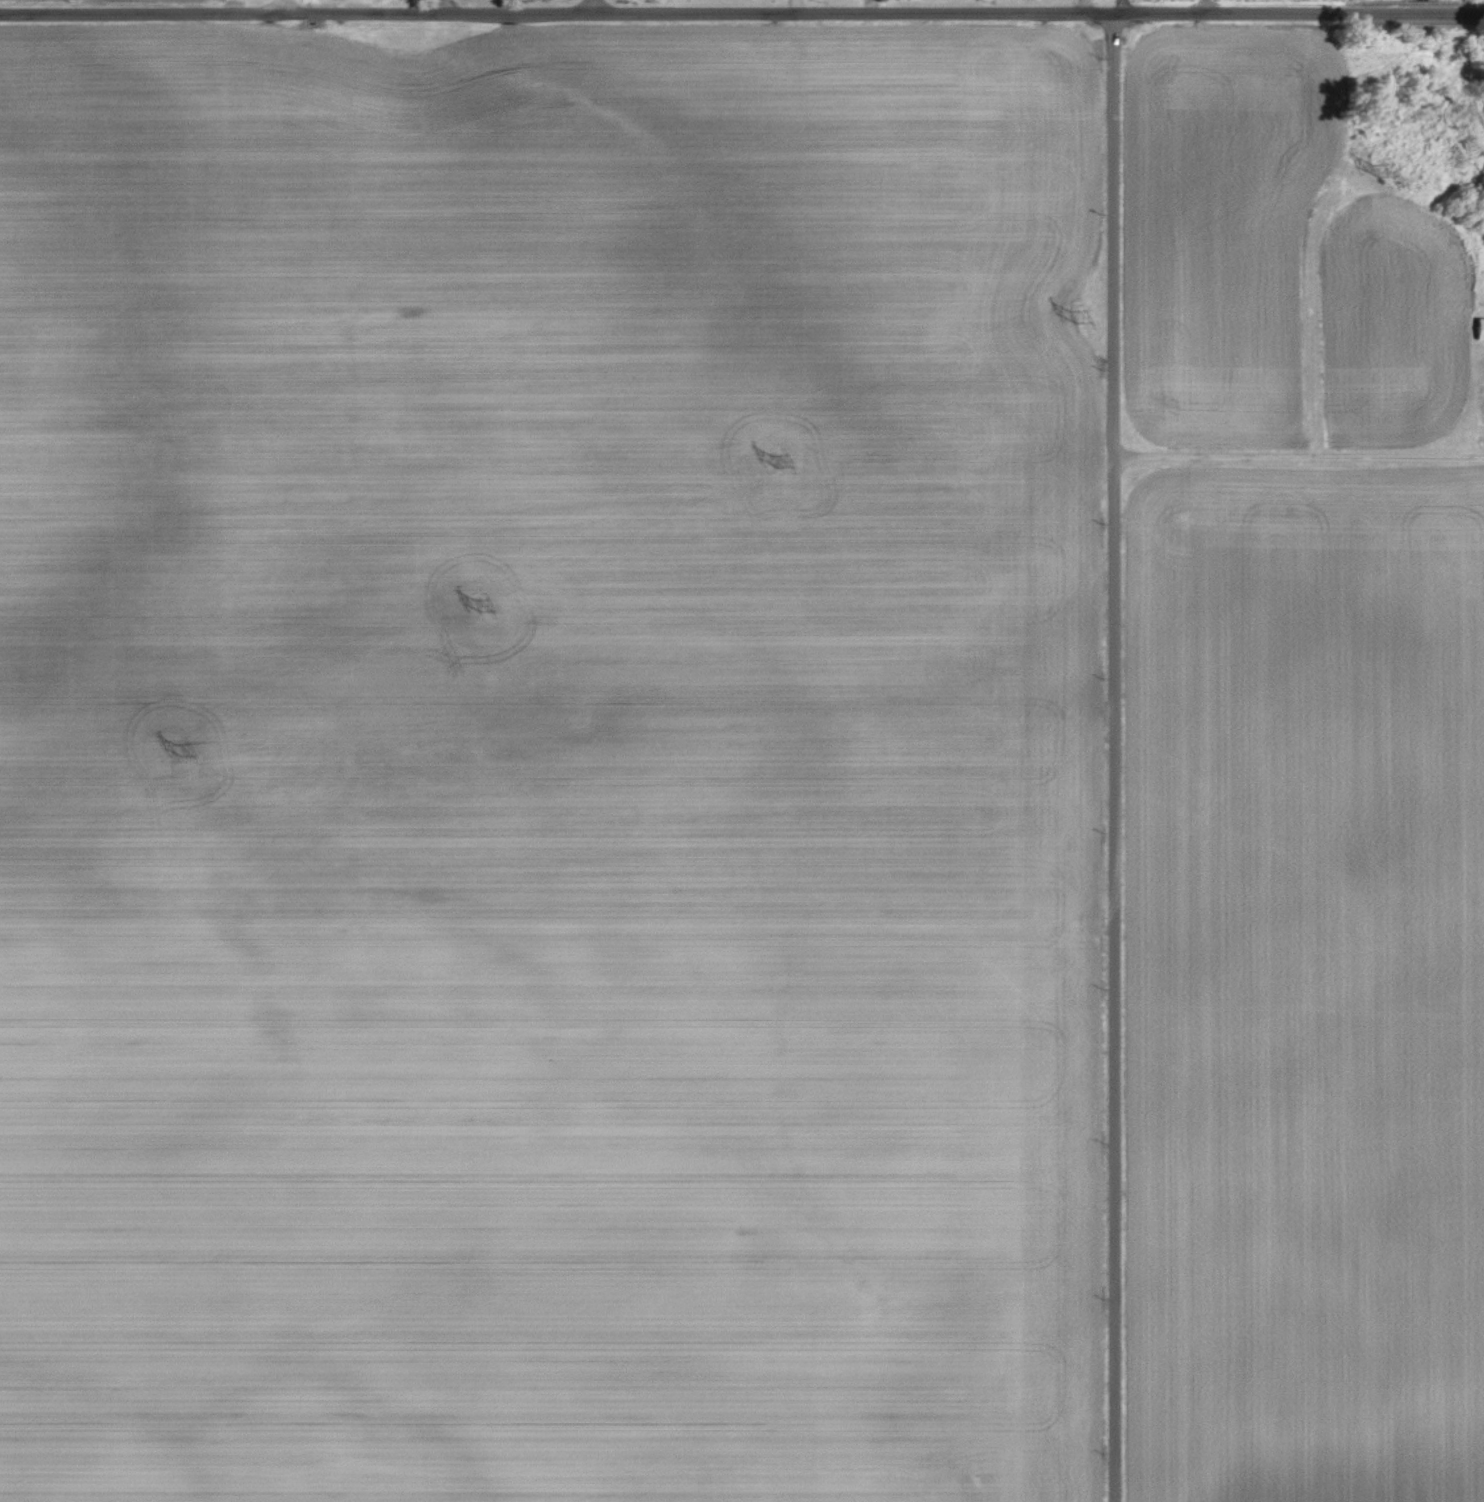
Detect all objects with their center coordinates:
road: (277, 6)
road: (587, 6)
road: (1120, 7)
road: (1203, 7)
road: (442, 9)
road: (741, 13)
power tower: (1371, 168)
power tower: (1069, 318)
building: (1477, 328)
road: (1295, 454)
power tower: (772, 462)
power tower: (473, 605)
power tower: (176, 752)
road: (1112, 758)

